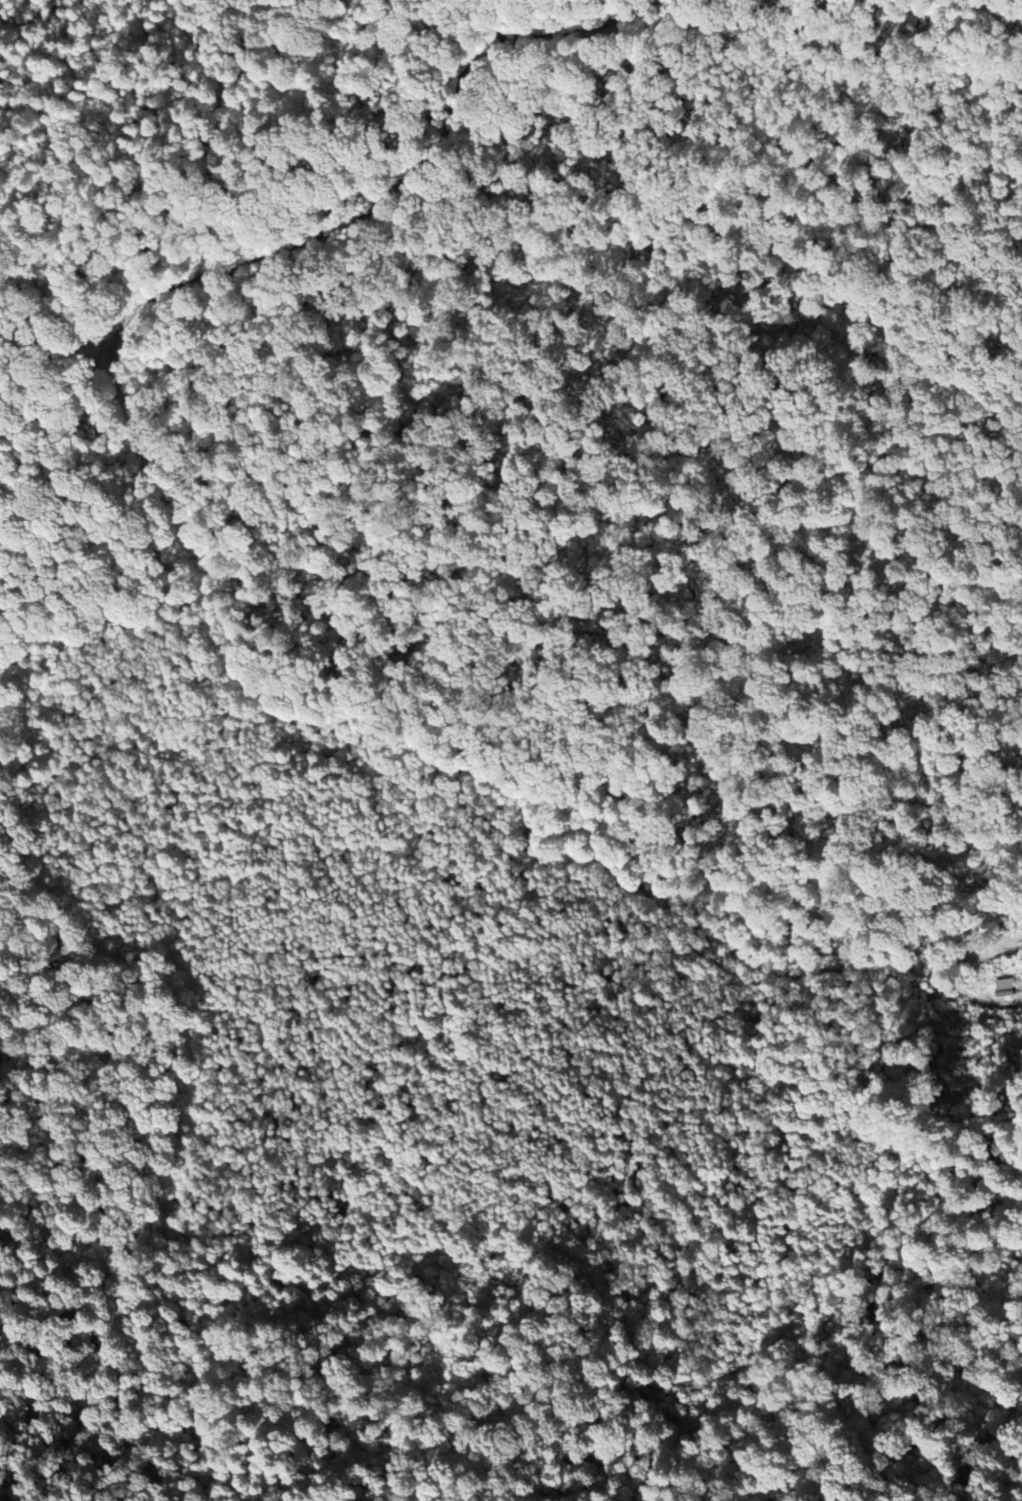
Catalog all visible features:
road: (392, 188)
road: (418, 754)

